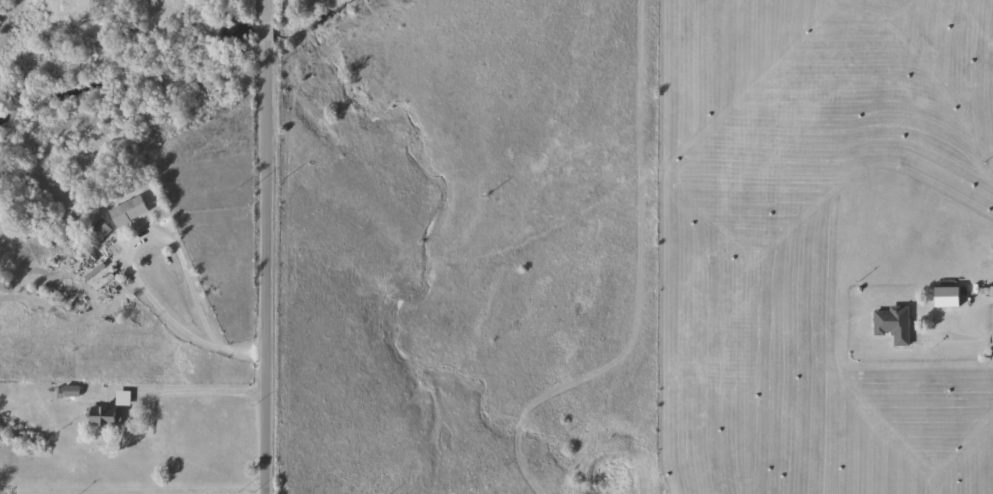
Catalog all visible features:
building: (130, 209)
building: (99, 229)
road: (271, 247)
road: (128, 267)
building: (948, 295)
building: (895, 322)
road: (956, 335)
road: (206, 392)
building: (124, 396)
building: (105, 414)

